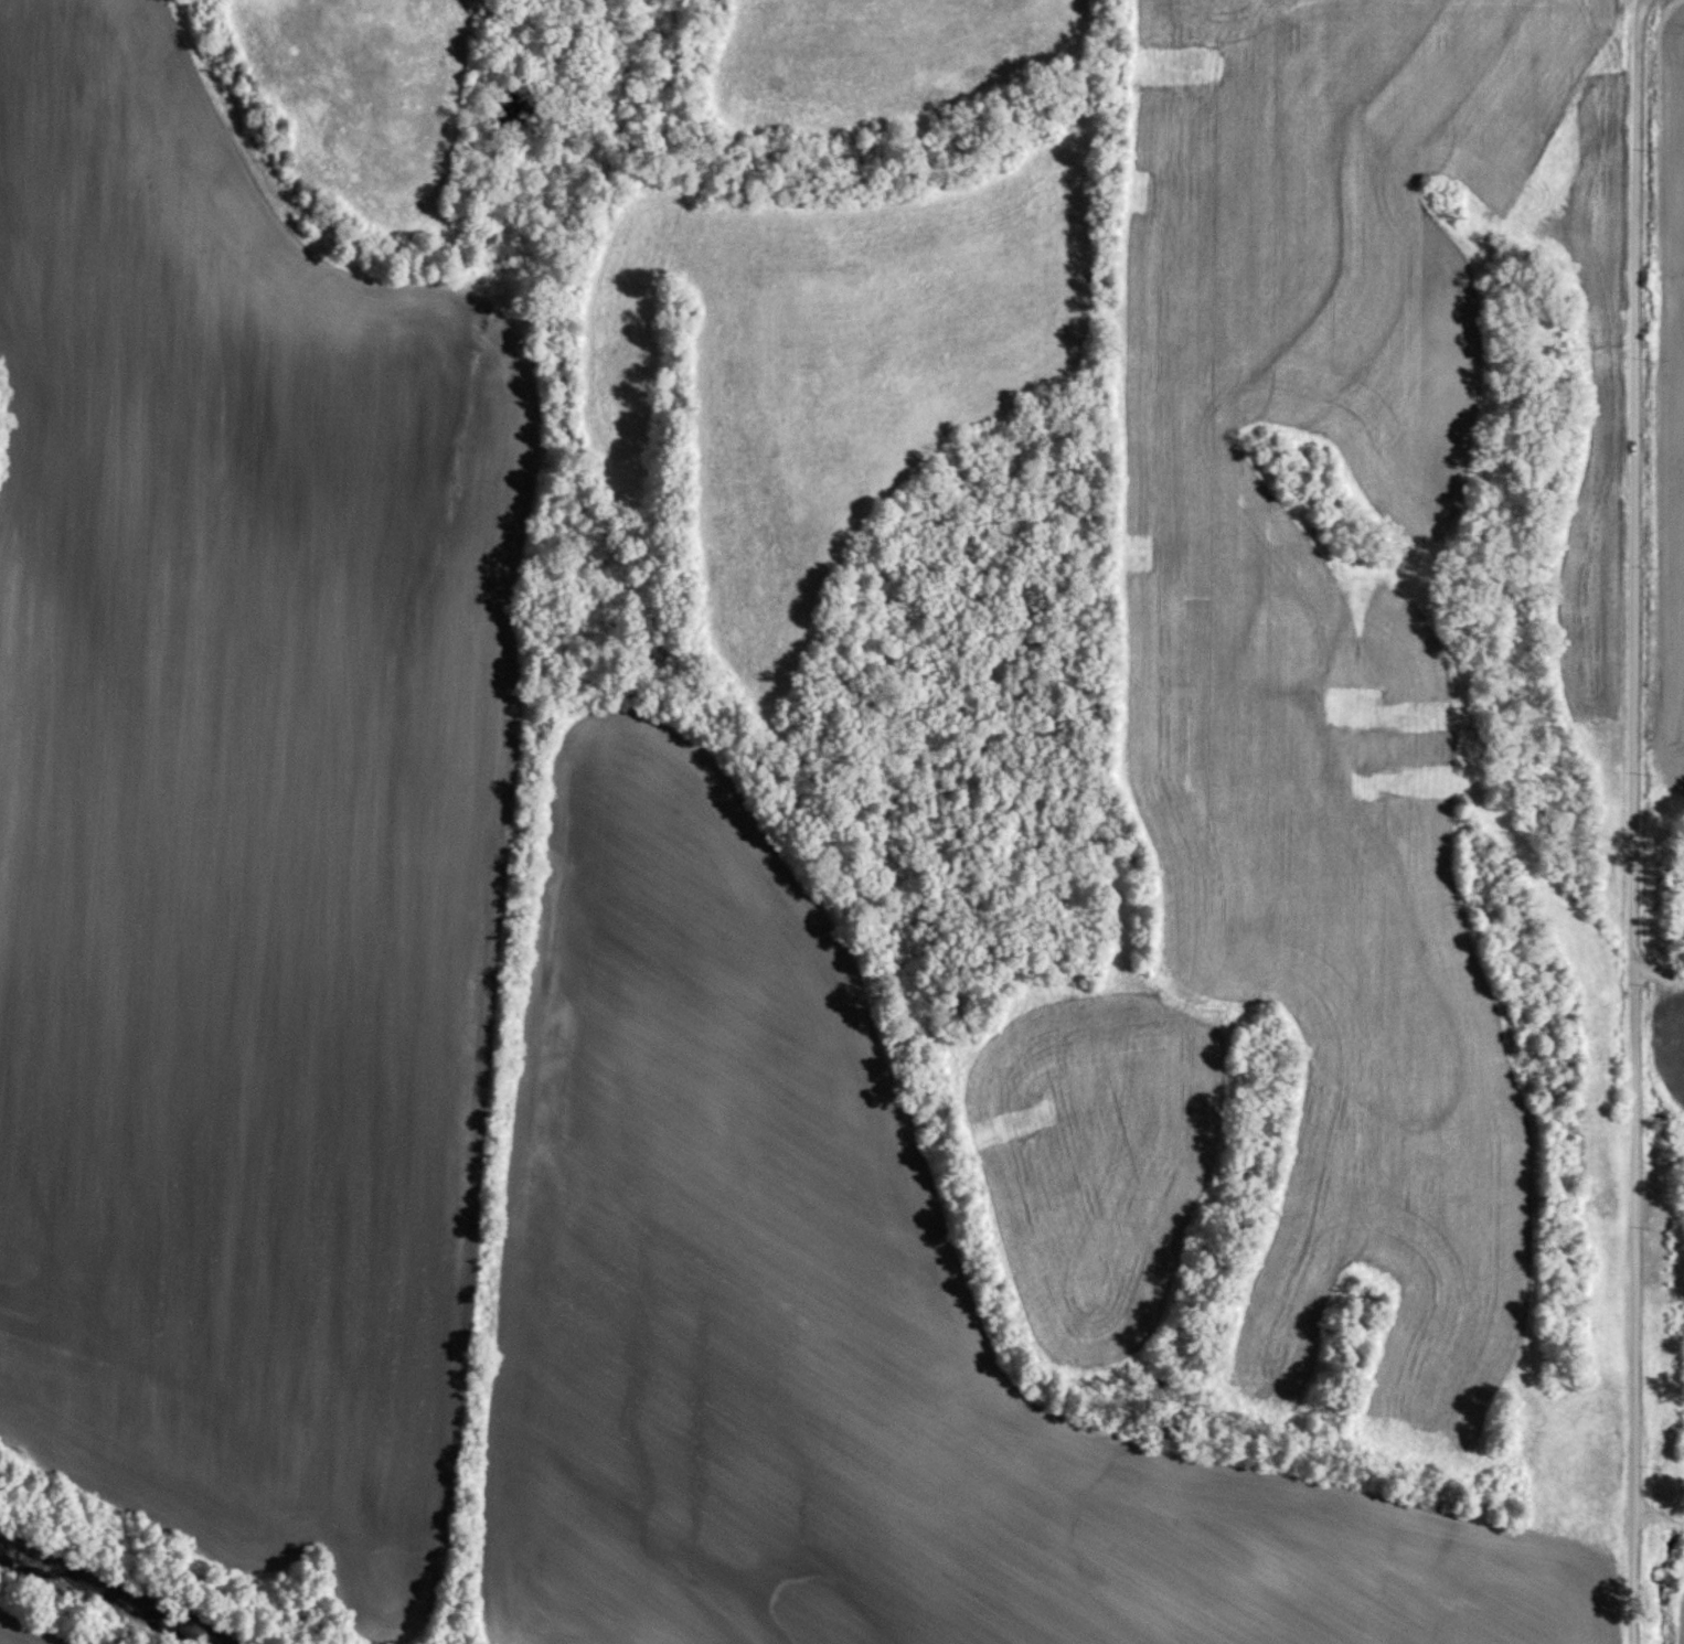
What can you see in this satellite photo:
road: (1632, 821)

